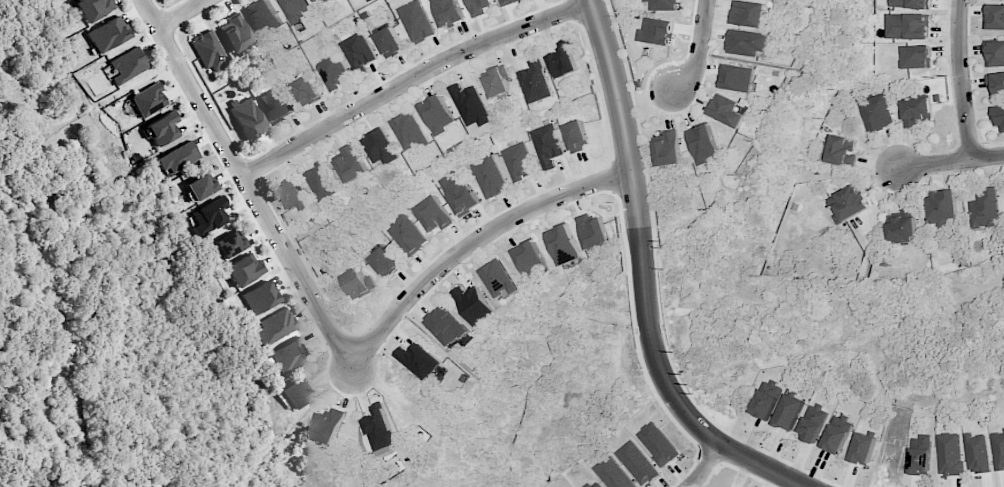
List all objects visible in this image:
building: (320, 2)
building: (508, 2)
building: (912, 4)
building: (662, 5)
building: (480, 6)
building: (93, 8)
building: (294, 9)
building: (447, 12)
road: (180, 13)
building: (748, 14)
building: (263, 16)
building: (995, 17)
building: (416, 22)
building: (909, 26)
building: (657, 31)
building: (236, 33)
building: (107, 34)
building: (389, 42)
building: (746, 42)
road: (698, 48)
building: (208, 49)
building: (358, 53)
building: (995, 54)
building: (918, 57)
building: (563, 60)
building: (127, 65)
building: (334, 72)
building: (737, 77)
road: (411, 78)
road: (964, 80)
building: (496, 81)
building: (535, 82)
building: (997, 83)
building: (307, 90)
building: (148, 100)
building: (276, 104)
building: (470, 105)
building: (724, 110)
building: (916, 110)
building: (436, 114)
building: (877, 114)
building: (999, 116)
building: (248, 117)
building: (162, 128)
building: (408, 131)
building: (577, 135)
building: (704, 144)
building: (548, 145)
building: (379, 147)
building: (668, 148)
building: (841, 149)
building: (519, 161)
road: (951, 162)
building: (350, 164)
building: (489, 177)
building: (322, 181)
building: (199, 185)
building: (291, 193)
building: (460, 194)
building: (849, 203)
building: (943, 206)
building: (985, 209)
building: (434, 214)
building: (208, 216)
building: (902, 226)
road: (639, 230)
building: (593, 231)
building: (407, 235)
building: (228, 244)
building: (563, 245)
building: (530, 258)
building: (385, 262)
building: (242, 269)
building: (498, 279)
building: (359, 283)
building: (259, 297)
building: (474, 304)
road: (327, 324)
building: (274, 325)
building: (447, 326)
building: (289, 354)
building: (419, 360)
building: (297, 390)
building: (330, 426)
building: (382, 428)
road: (704, 465)
road: (765, 465)

